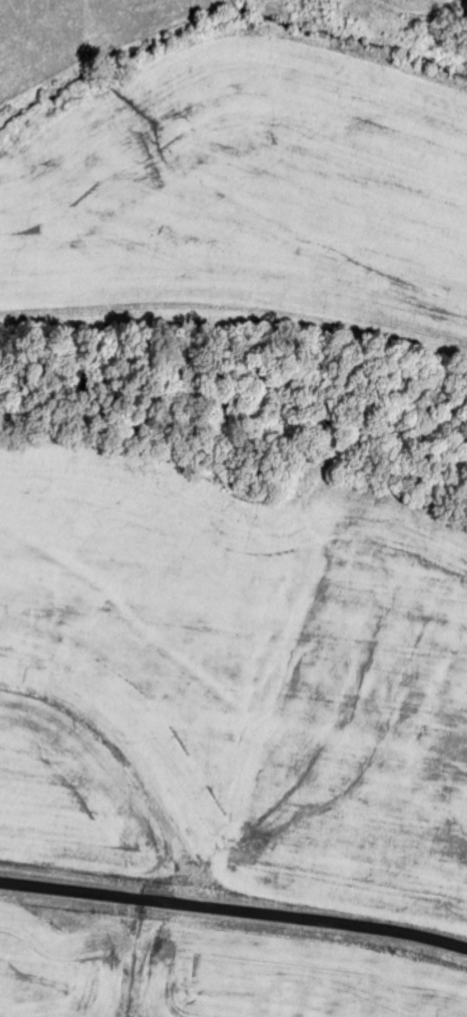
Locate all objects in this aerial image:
road: (234, 911)

